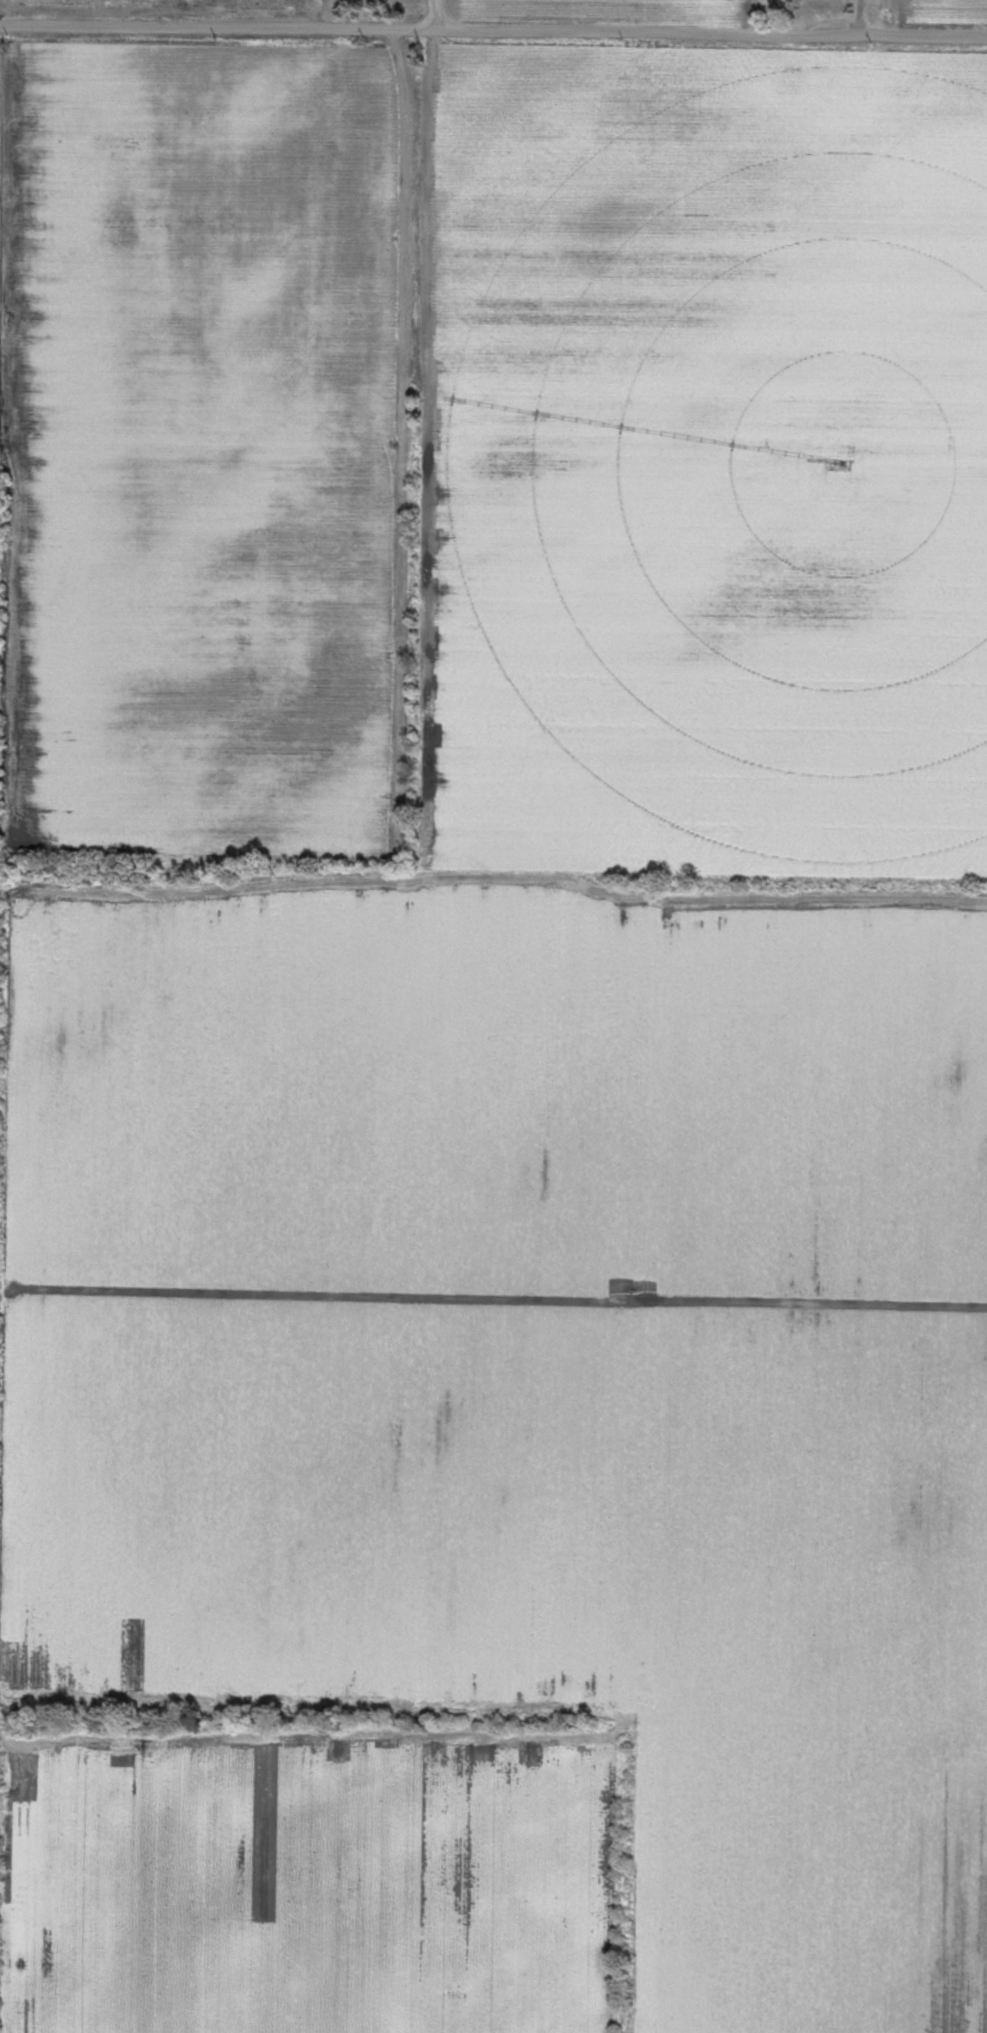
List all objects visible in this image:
road: (437, 14)
road: (862, 17)
road: (493, 29)

